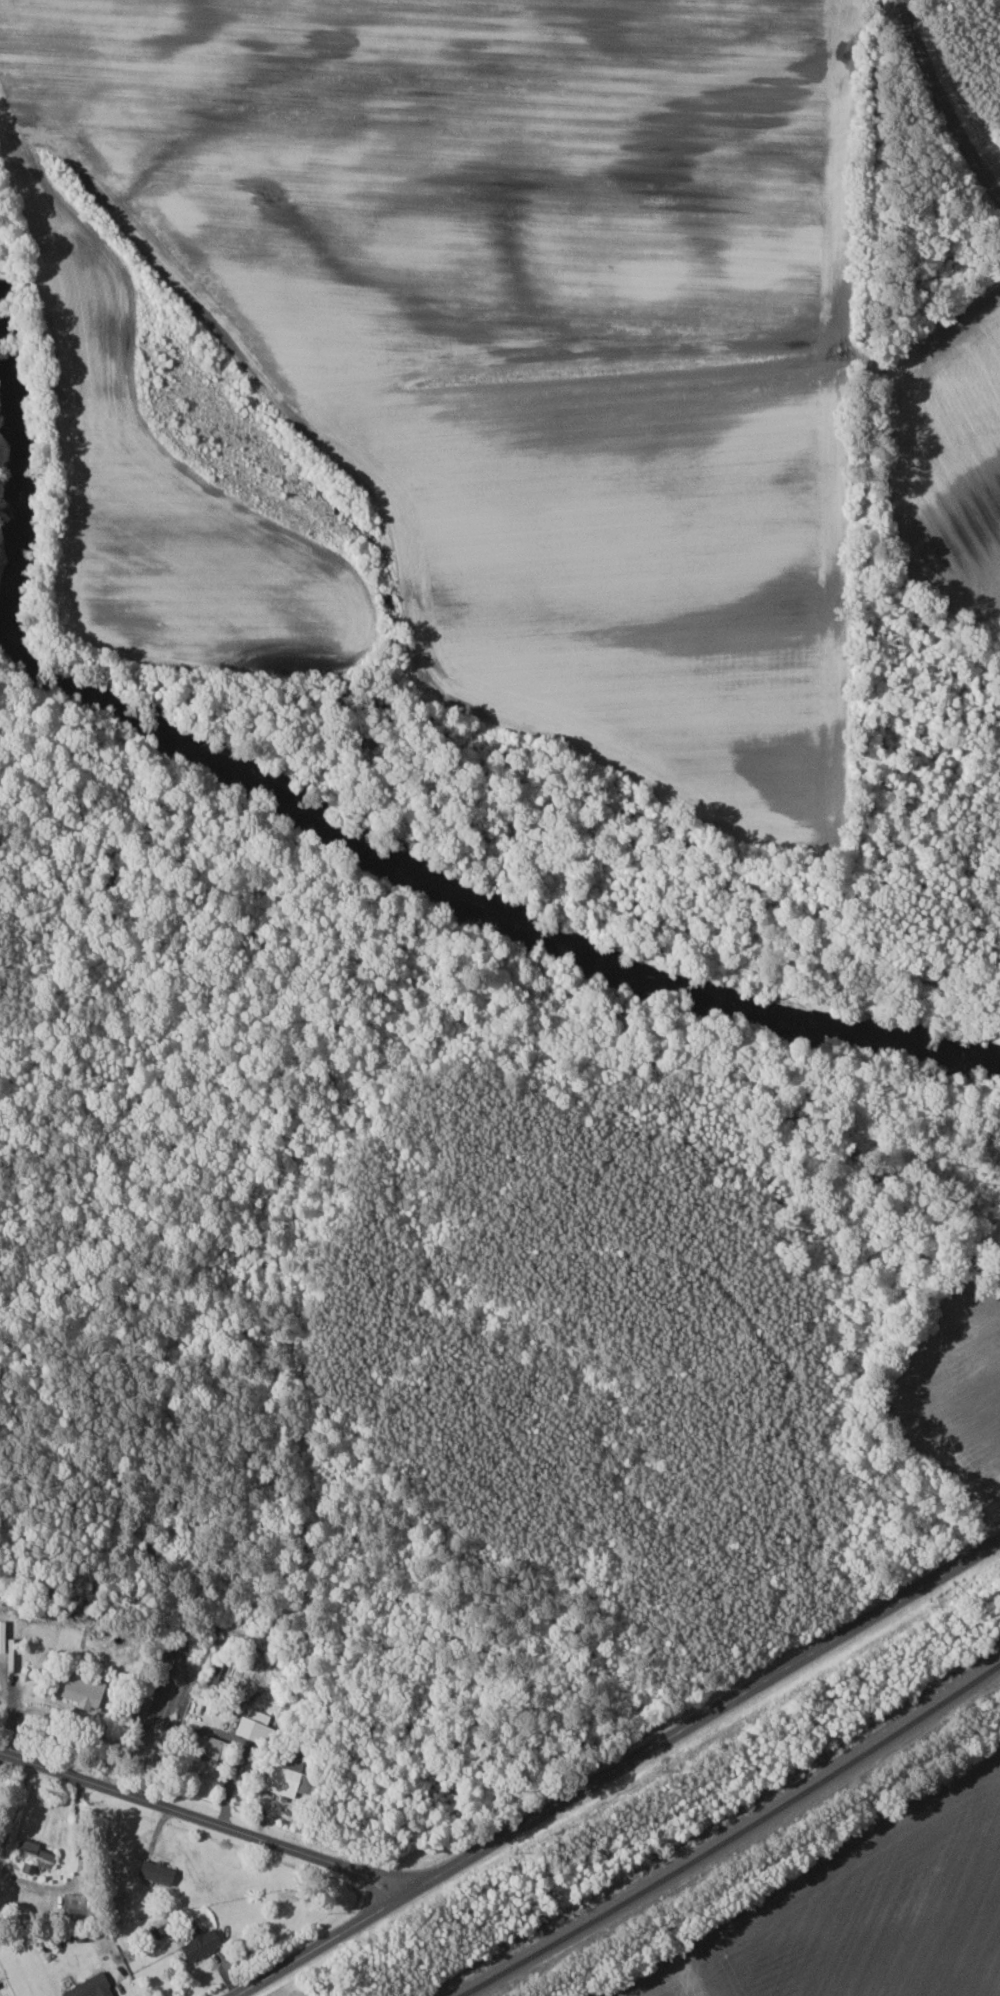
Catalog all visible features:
road: (945, 99)
road: (990, 163)
river: (342, 821)
building: (2, 1636)
building: (215, 1672)
building: (83, 1688)
road: (704, 1715)
building: (256, 1727)
building: (209, 1753)
building: (282, 1780)
road: (203, 1819)
railway: (731, 1834)
building: (34, 1855)
building: (157, 1871)
building: (76, 1906)
road: (321, 1942)
building: (202, 1943)
building: (91, 1987)

